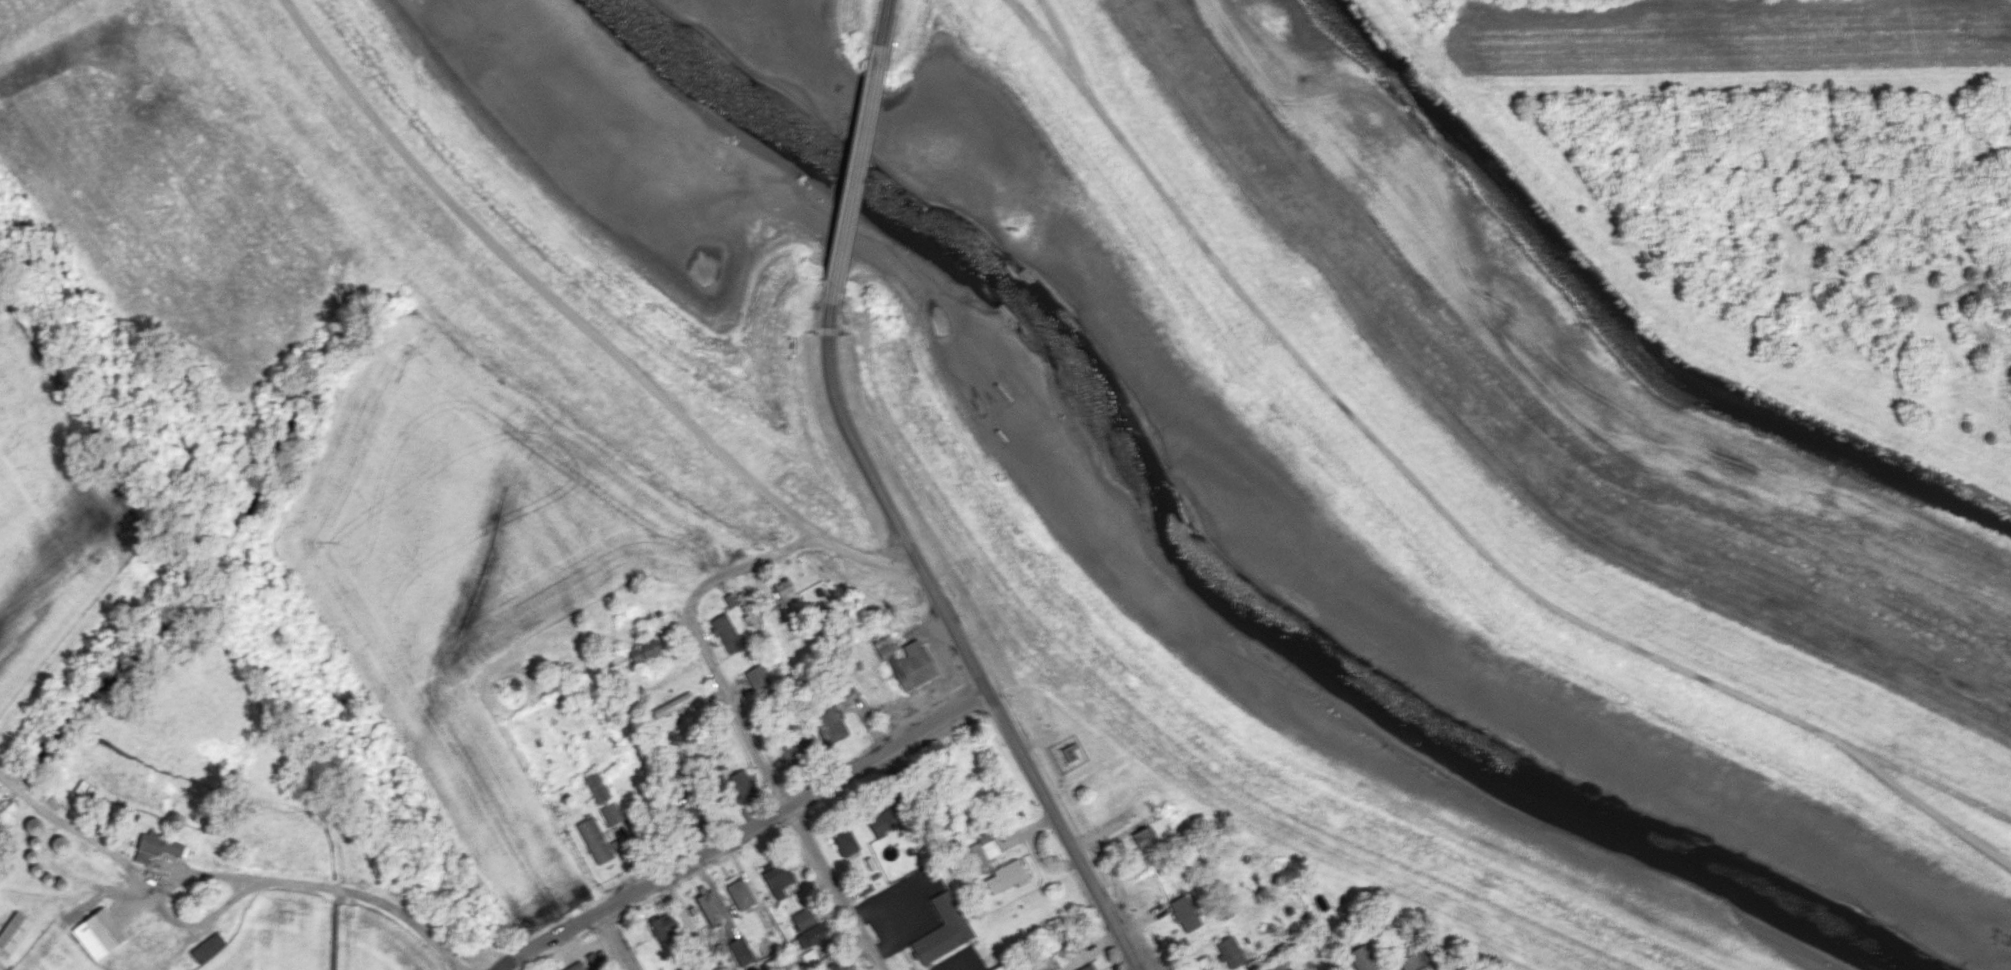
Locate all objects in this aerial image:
road: (881, 26)
road: (852, 176)
road: (548, 292)
crop: (481, 461)
road: (886, 503)
crop: (46, 516)
road: (1449, 520)
road: (784, 544)
road: (20, 790)
road: (783, 799)
road: (795, 803)
road: (1065, 832)
crop: (237, 833)
road: (103, 846)
road: (373, 900)
road: (161, 907)
building: (944, 931)
road: (544, 937)
road: (616, 940)
road: (1463, 968)

